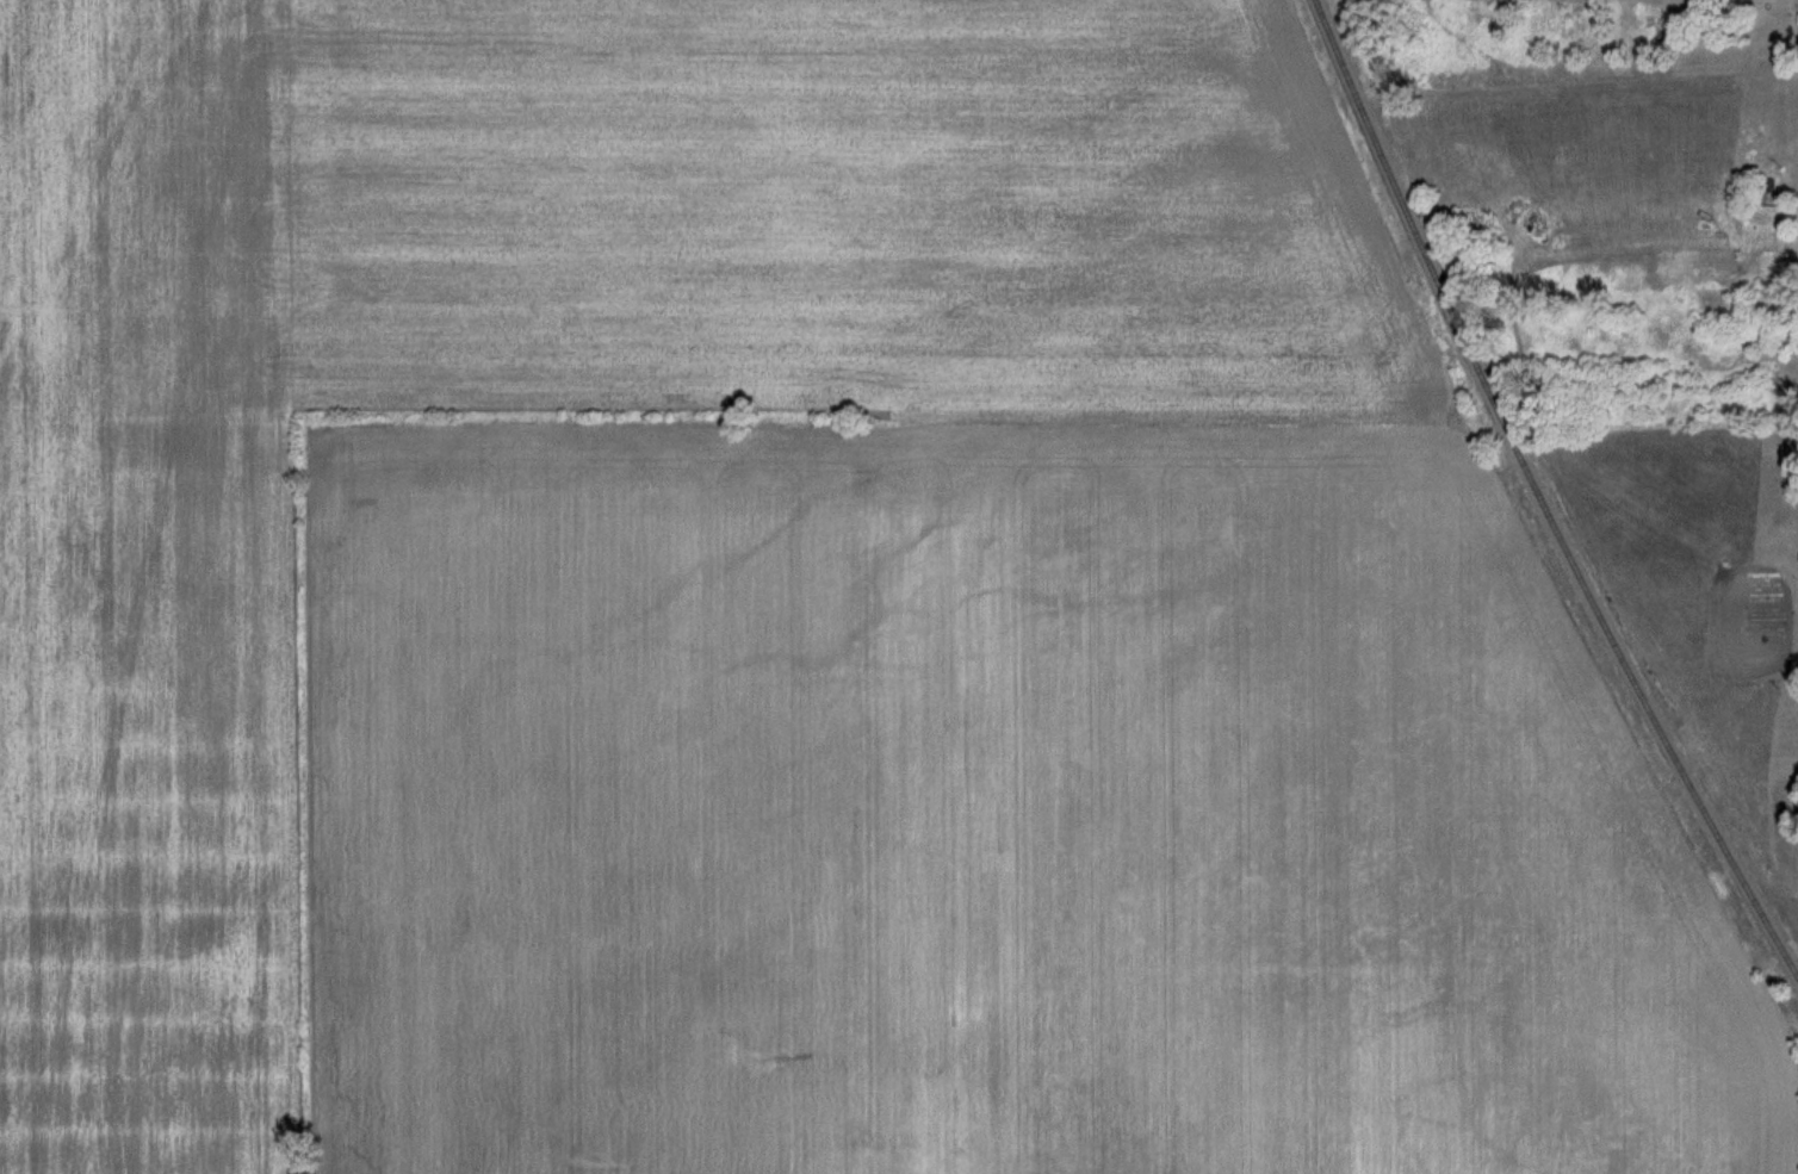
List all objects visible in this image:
railway: (1540, 491)

